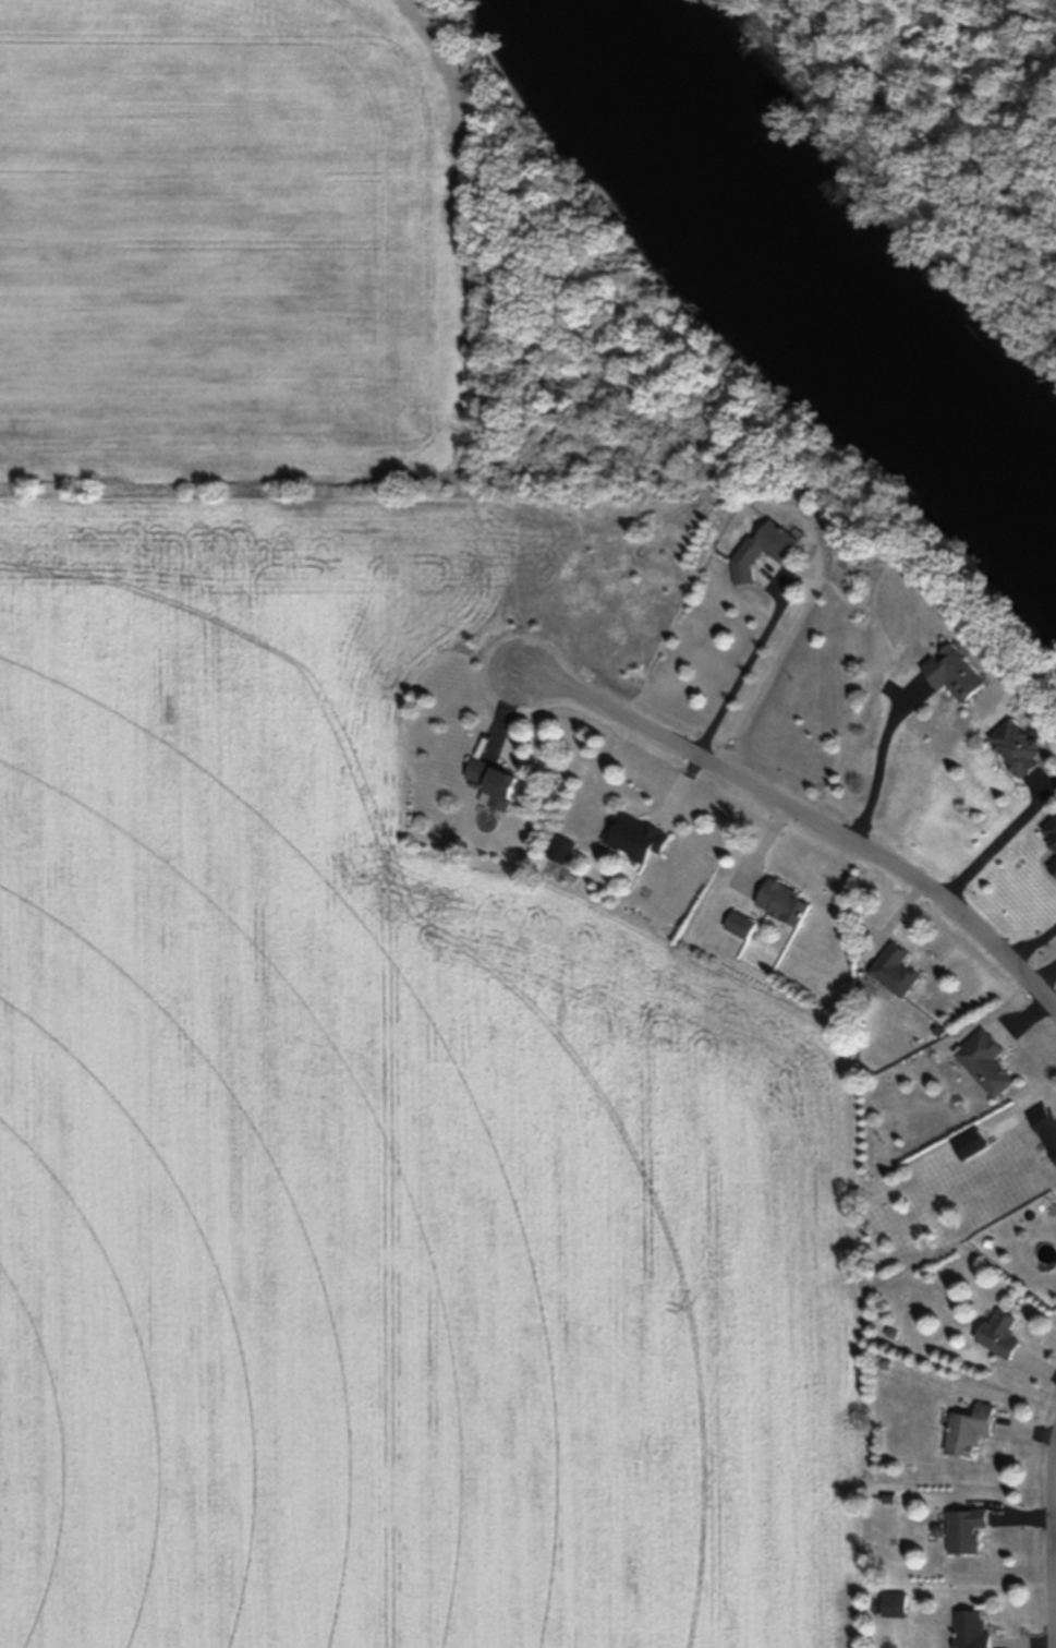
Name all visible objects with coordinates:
river: (796, 287)
building: (764, 551)
building: (952, 674)
road: (739, 676)
building: (1015, 748)
building: (494, 783)
road: (803, 823)
building: (1052, 832)
building: (634, 837)
building: (1054, 866)
building: (782, 903)
building: (739, 925)
building: (894, 972)
building: (984, 1063)
building: (1044, 1127)
building: (998, 1333)
building: (969, 1430)
building: (964, 1530)
building: (894, 1604)
building: (970, 1629)

